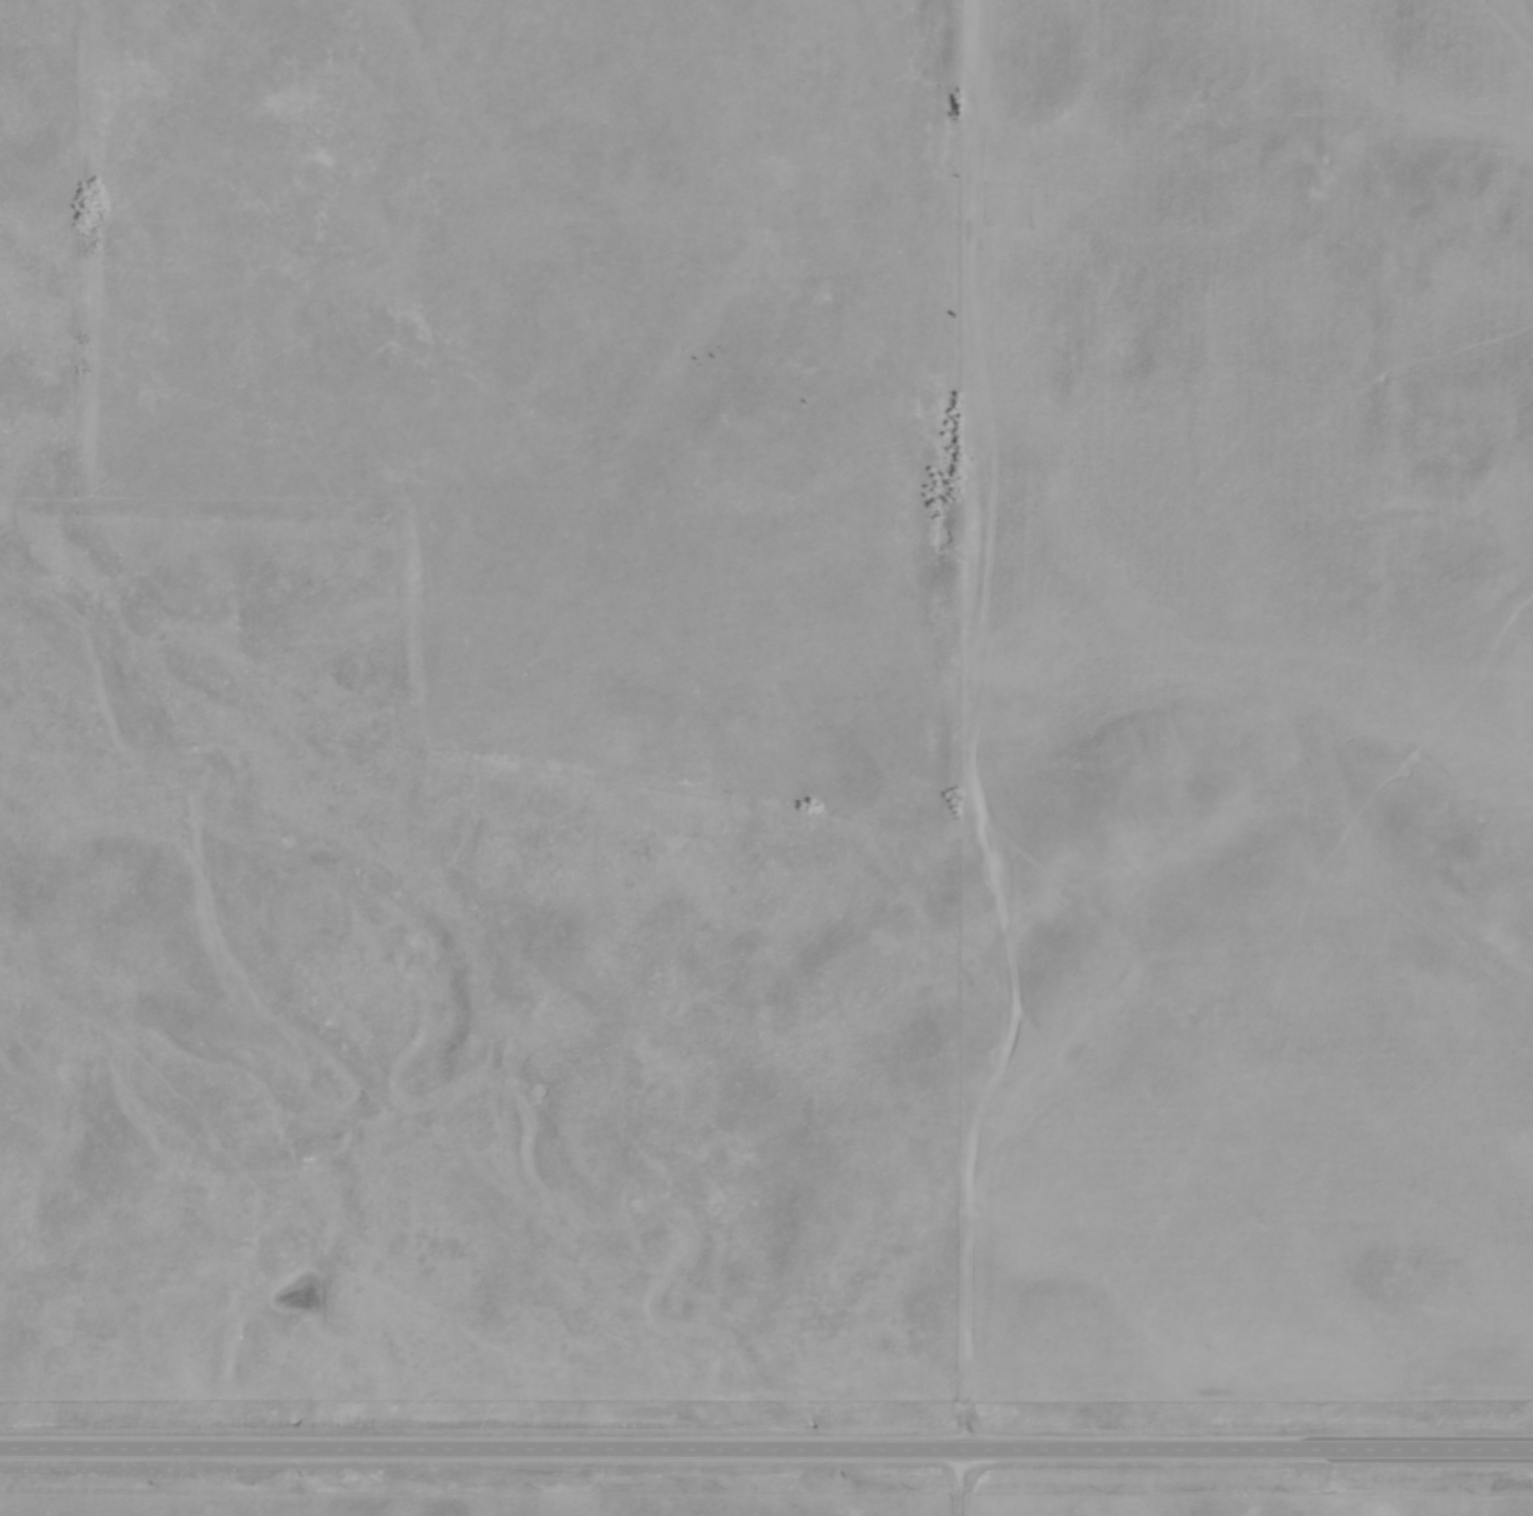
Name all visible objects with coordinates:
road: (766, 1446)

